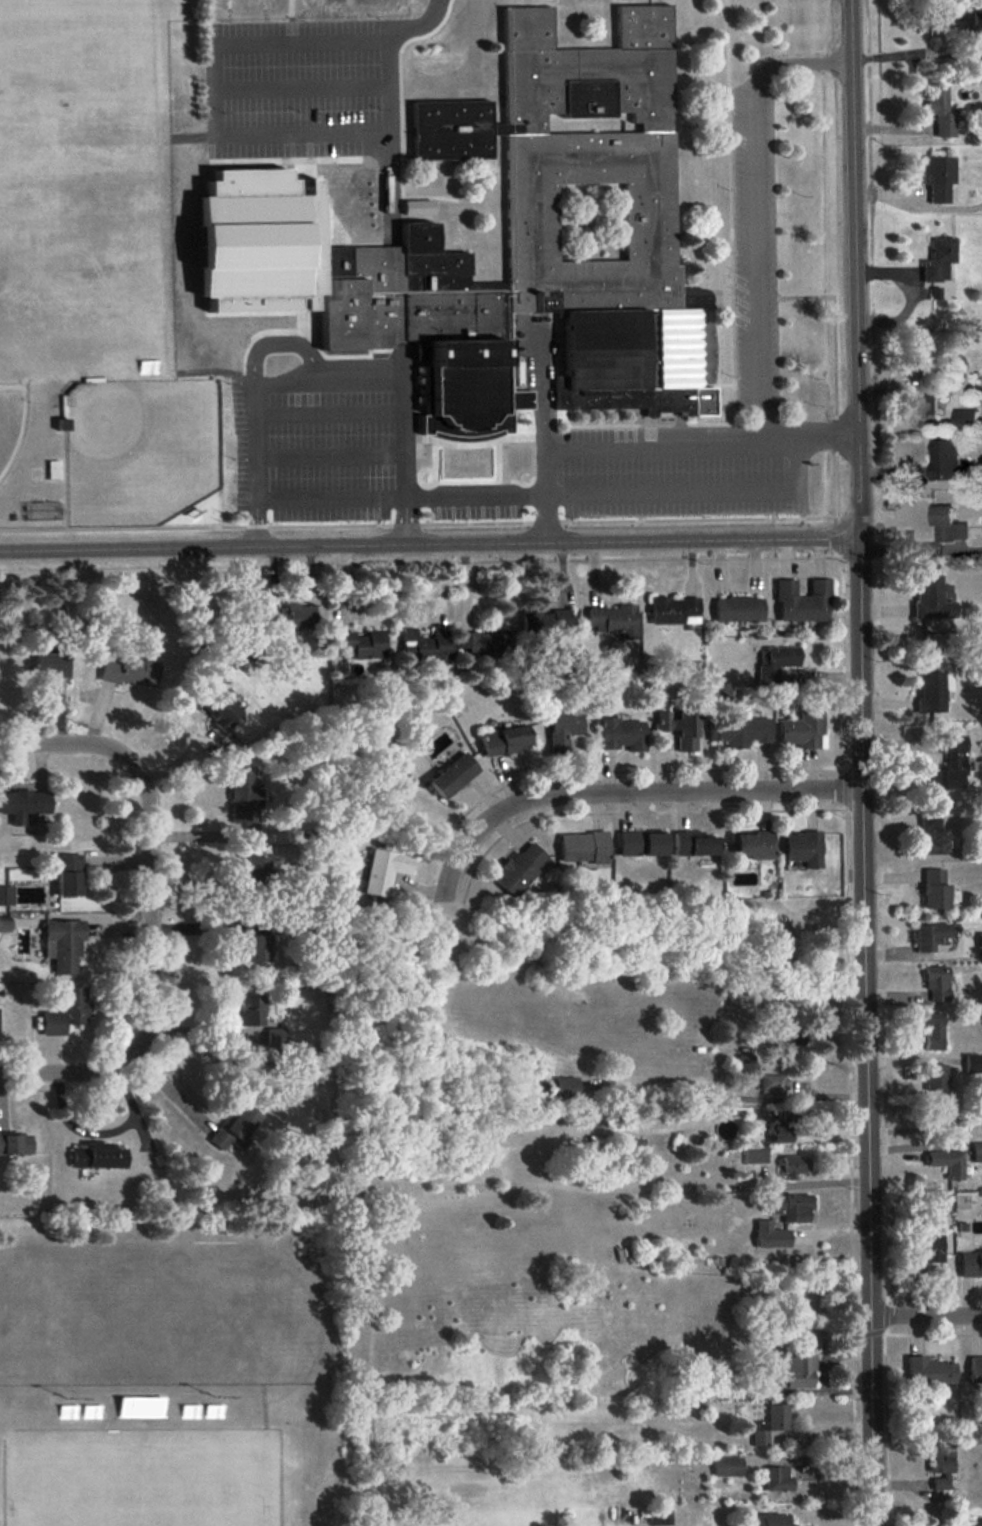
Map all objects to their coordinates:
building: (966, 23)
building: (942, 111)
building: (319, 147)
building: (940, 176)
road: (232, 198)
road: (754, 212)
building: (545, 231)
building: (940, 258)
road: (335, 364)
building: (927, 397)
building: (964, 418)
park: (12, 422)
road: (678, 446)
park: (141, 450)
building: (944, 460)
road: (423, 497)
building: (947, 525)
road: (429, 543)
road: (921, 549)
building: (932, 597)
building: (802, 600)
building: (738, 608)
building: (674, 610)
building: (296, 616)
building: (613, 619)
building: (547, 622)
building: (484, 642)
building: (364, 643)
building: (428, 644)
building: (775, 661)
building: (53, 663)
building: (129, 669)
building: (933, 690)
building: (222, 710)
building: (803, 729)
building: (563, 730)
building: (739, 730)
building: (622, 733)
building: (506, 739)
road: (70, 742)
road: (860, 763)
building: (950, 764)
building: (453, 775)
road: (625, 792)
building: (245, 794)
building: (24, 803)
building: (933, 835)
building: (641, 843)
building: (693, 843)
building: (753, 844)
building: (584, 846)
building: (802, 847)
building: (255, 866)
building: (520, 867)
building: (385, 870)
building: (69, 874)
building: (936, 889)
building: (6, 894)
road: (148, 907)
building: (4, 924)
building: (930, 935)
building: (253, 940)
building: (980, 940)
building: (63, 944)
building: (937, 982)
building: (67, 1010)
building: (251, 1010)
building: (932, 1029)
building: (275, 1036)
building: (790, 1038)
building: (972, 1062)
road: (69, 1068)
building: (935, 1076)
building: (773, 1084)
building: (567, 1086)
road: (731, 1097)
building: (944, 1113)
building: (235, 1128)
building: (780, 1130)
building: (15, 1143)
building: (977, 1148)
building: (97, 1155)
building: (755, 1155)
building: (947, 1162)
building: (793, 1165)
building: (791, 1206)
building: (770, 1234)
building: (928, 1247)
building: (970, 1263)
road: (926, 1313)
building: (975, 1368)
building: (796, 1369)
building: (929, 1370)
building: (141, 1406)
building: (770, 1423)
road: (819, 1428)
building: (941, 1464)
building: (727, 1466)
building: (777, 1478)
building: (660, 1516)
building: (776, 1519)

